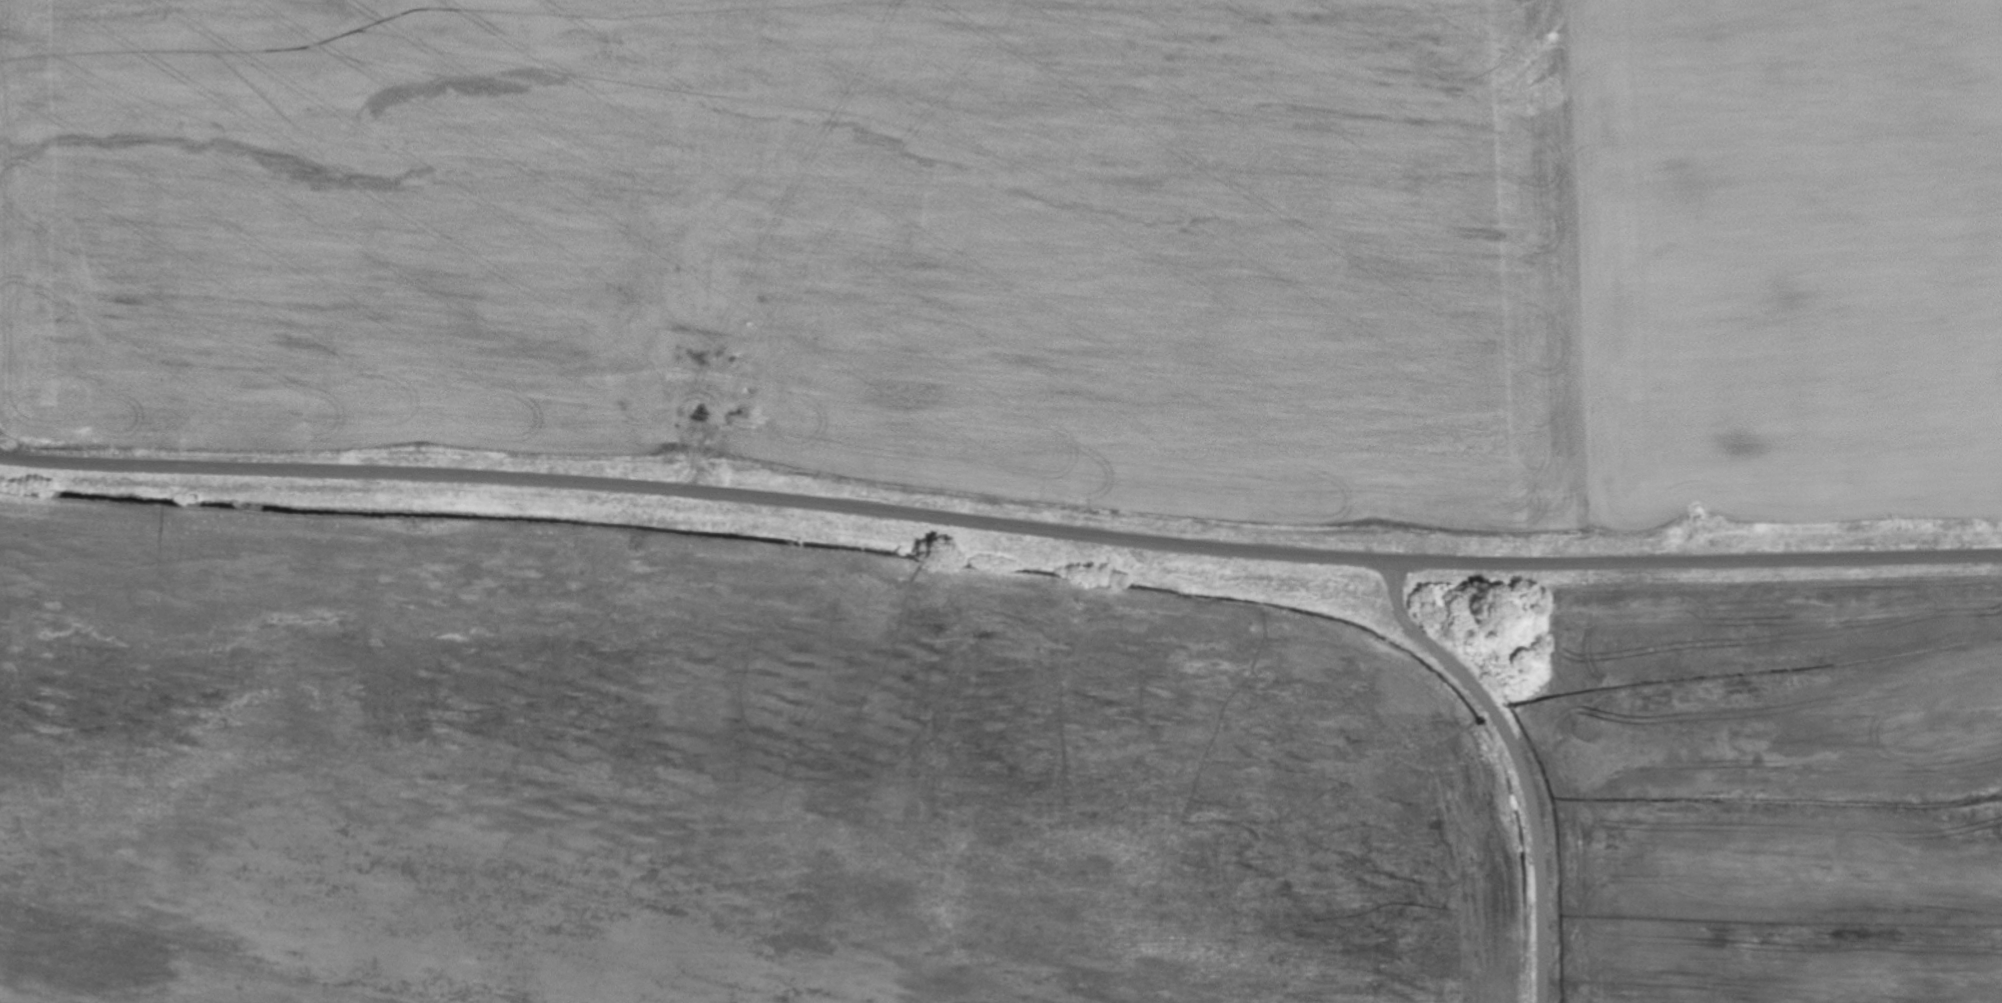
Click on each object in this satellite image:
road: (1000, 526)
road: (1518, 762)

